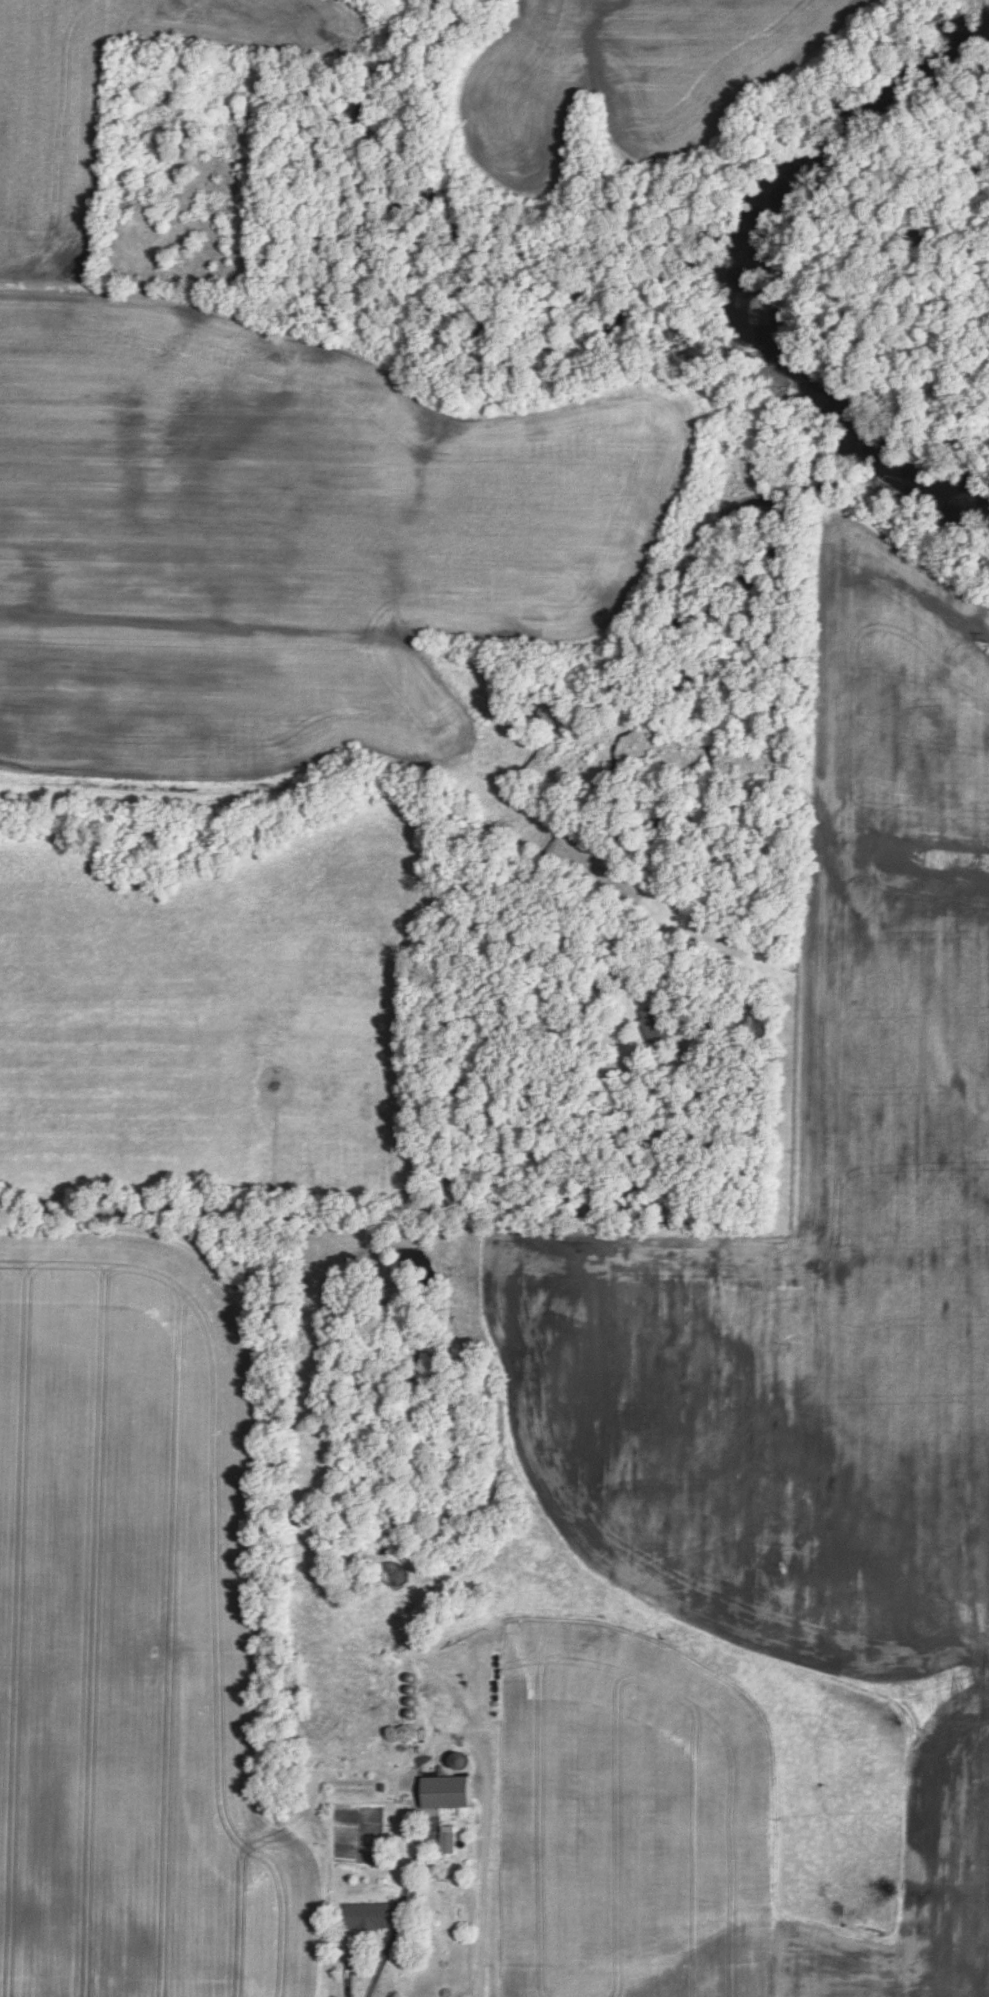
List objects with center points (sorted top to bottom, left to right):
park: (184, 168)
river: (746, 269)
road: (616, 1106)
road: (244, 1215)
building: (446, 1788)
building: (448, 1836)
road: (486, 1836)
road: (401, 1911)
building: (370, 1912)

